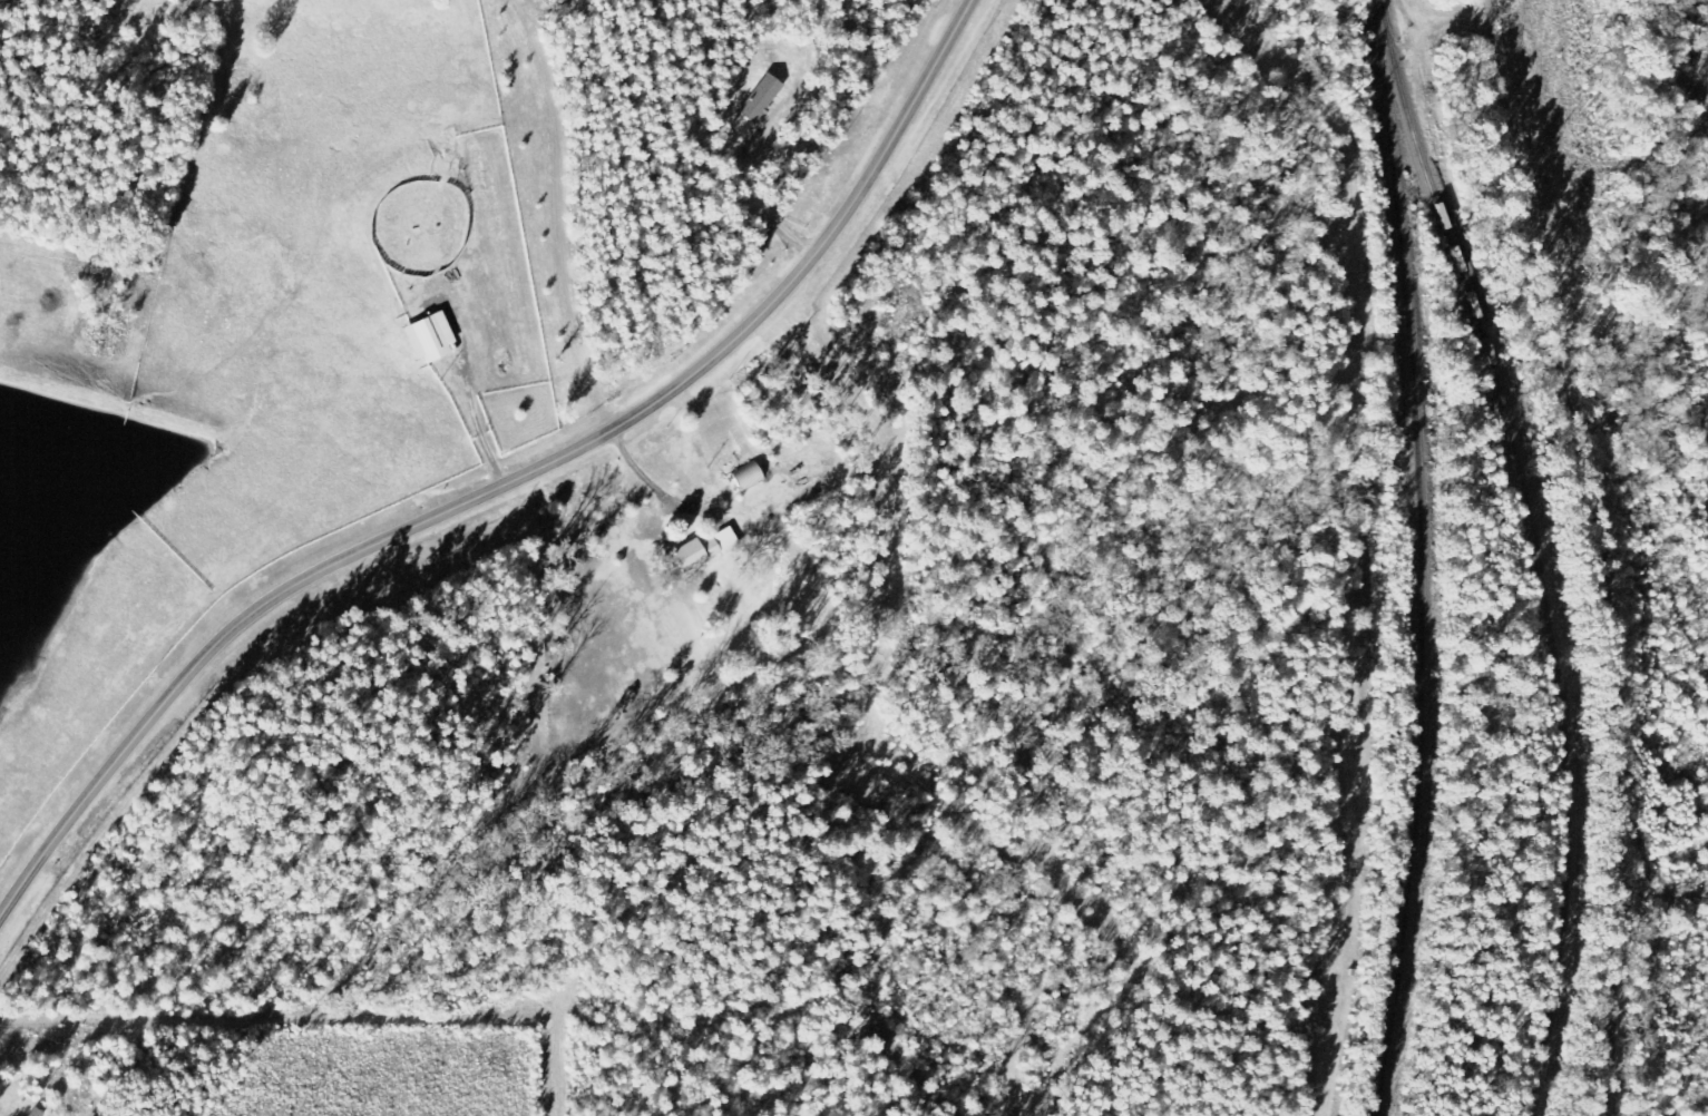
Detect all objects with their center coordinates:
building: (760, 104)
building: (435, 337)
road: (508, 484)
road: (1588, 546)
railway: (1540, 548)
building: (705, 549)
railway: (1425, 558)
building: (40, 1113)

